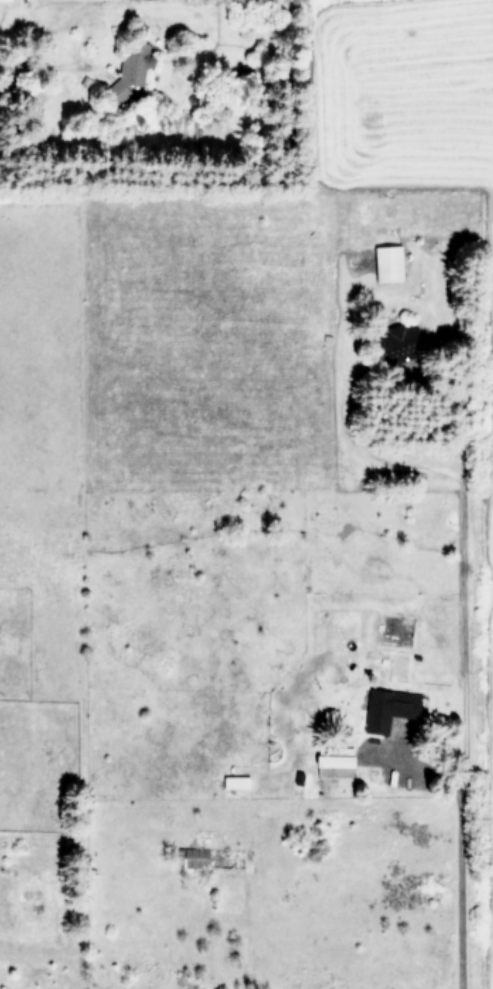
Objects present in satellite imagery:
building: (136, 65)
road: (374, 386)
crop: (259, 548)
building: (392, 708)
road: (460, 735)
building: (340, 763)

